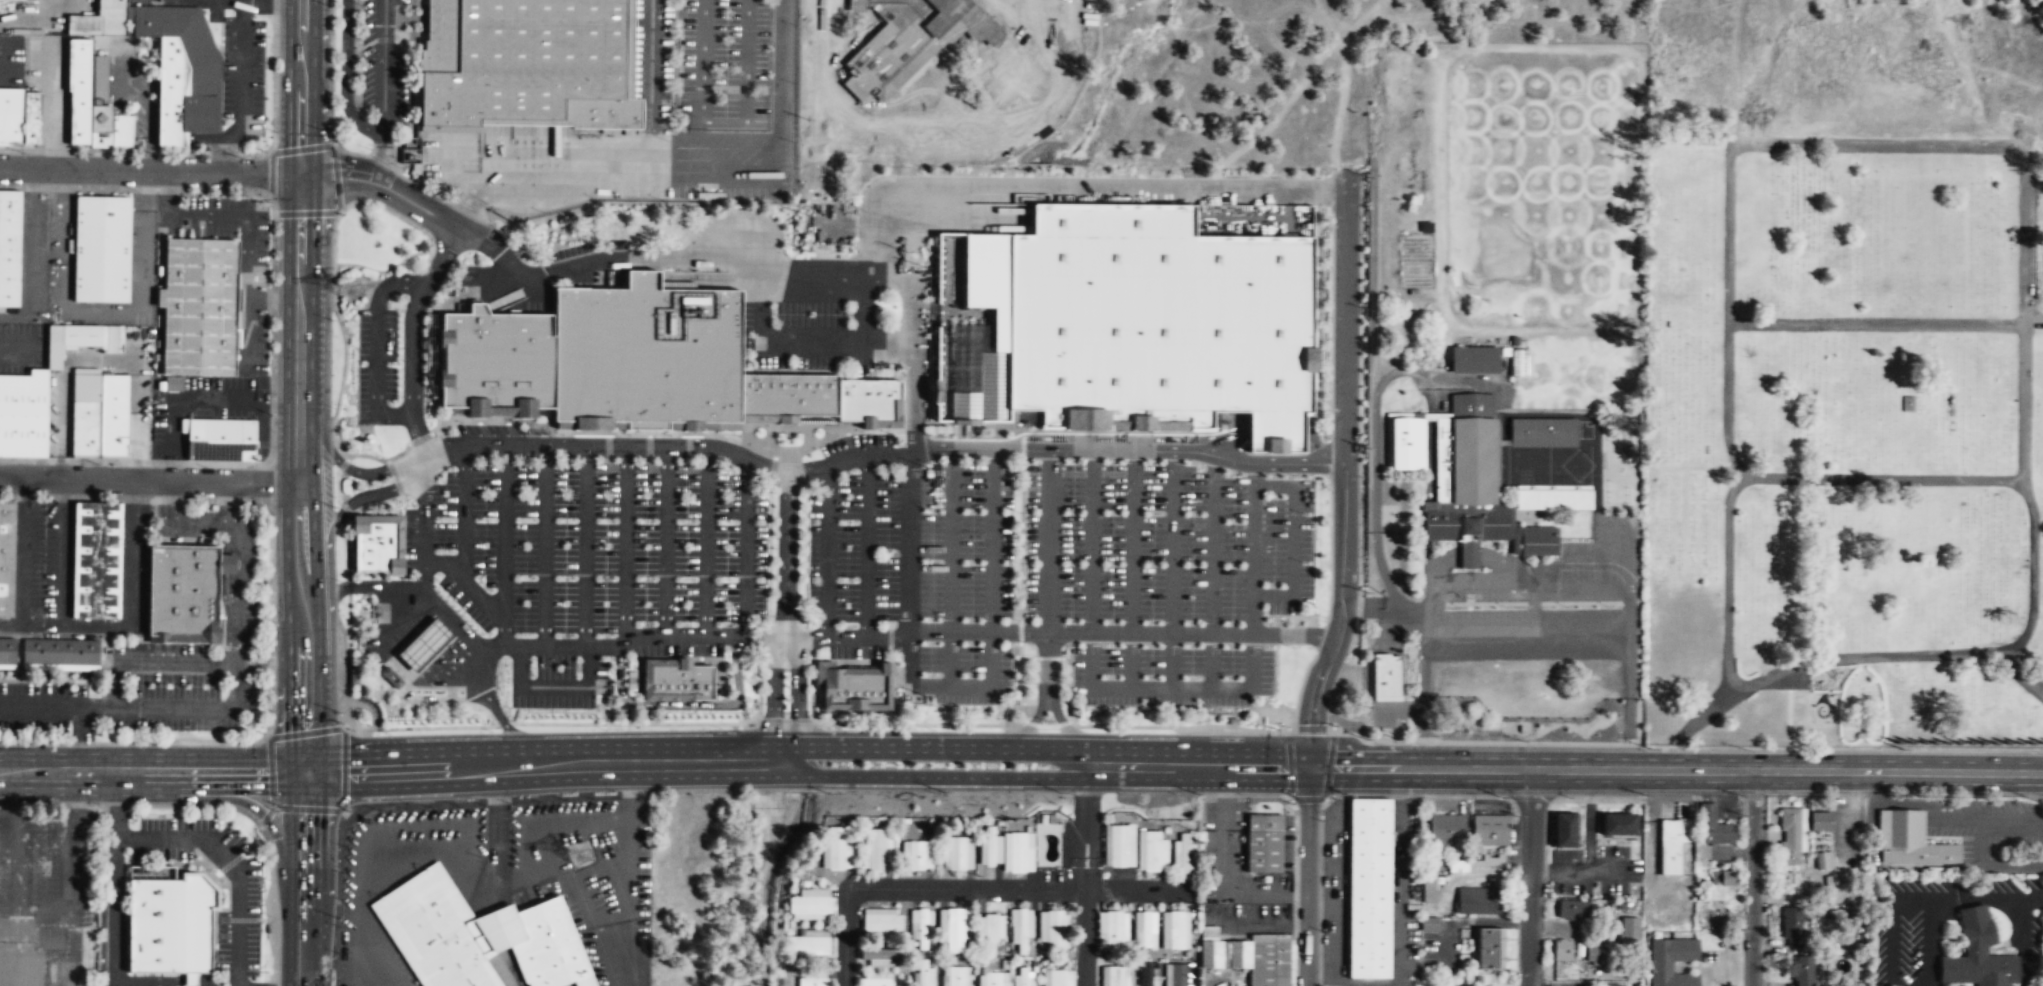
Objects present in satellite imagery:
building: (19, 0)
street lamp: (329, 9)
building: (100, 19)
road: (4, 56)
building: (187, 59)
road: (240, 61)
road: (384, 63)
parking lot: (724, 63)
building: (528, 65)
parking lot: (382, 67)
road: (781, 69)
road: (346, 77)
road: (300, 87)
building: (78, 89)
road: (649, 89)
building: (170, 93)
building: (10, 117)
building: (31, 118)
road: (723, 122)
street lamp: (329, 126)
road: (712, 138)
road: (226, 146)
street lamp: (22, 152)
parking lot: (447, 152)
street lamp: (156, 154)
road: (381, 155)
road: (1727, 164)
road: (149, 170)
traffic signals: (299, 175)
road: (606, 178)
road: (383, 185)
road: (1085, 186)
street lamp: (244, 189)
road: (169, 193)
road: (473, 203)
road: (961, 212)
street lamp: (274, 240)
road: (68, 241)
building: (9, 246)
building: (101, 248)
parking lot: (142, 248)
road: (498, 250)
road: (246, 252)
road: (26, 254)
road: (633, 258)
road: (815, 272)
road: (713, 279)
power tower: (351, 288)
road: (511, 295)
road: (139, 296)
road: (272, 299)
building: (199, 306)
road: (333, 306)
road: (864, 307)
building: (1156, 322)
road: (1875, 323)
parking lot: (250, 326)
street lamp: (331, 331)
building: (81, 339)
road: (793, 339)
road: (14, 345)
road: (377, 345)
building: (648, 352)
building: (497, 359)
building: (1473, 359)
building: (1518, 362)
parking lot: (375, 364)
building: (173, 383)
building: (23, 393)
street lamp: (273, 394)
building: (790, 394)
road: (212, 396)
building: (870, 399)
street lamp: (331, 406)
road: (435, 414)
building: (85, 415)
building: (112, 416)
building: (1542, 432)
building: (22, 435)
building: (220, 439)
building: (1405, 442)
road: (421, 444)
park: (1842, 445)
building: (1471, 448)
road: (912, 452)
road: (874, 455)
road: (340, 463)
road: (1344, 473)
road: (298, 475)
road: (1884, 479)
road: (149, 480)
road: (395, 483)
street lamp: (333, 496)
building: (1552, 496)
road: (370, 504)
road: (1506, 508)
street lamp: (272, 519)
road: (177, 522)
building: (1465, 524)
road: (665, 539)
parking lot: (964, 540)
building: (1538, 540)
road: (706, 541)
road: (1294, 541)
road: (625, 542)
road: (461, 543)
parking lot: (1165, 543)
road: (504, 544)
road: (544, 544)
building: (374, 545)
road: (585, 545)
parking lot: (590, 546)
road: (866, 546)
parking lot: (853, 548)
road: (746, 549)
road: (826, 552)
road: (398, 554)
building: (6, 555)
road: (786, 555)
building: (95, 558)
road: (328, 558)
road: (22, 561)
road: (441, 565)
road: (951, 567)
road: (243, 570)
road: (1133, 570)
road: (1171, 570)
road: (1212, 572)
road: (1049, 574)
street lamp: (339, 580)
road: (375, 587)
building: (182, 592)
parking lot: (237, 605)
street lamp: (273, 618)
road: (348, 620)
road: (95, 624)
road: (907, 633)
road: (989, 634)
building: (425, 643)
gas station: (425, 643)
building: (7, 649)
building: (60, 651)
parking lot: (856, 652)
road: (154, 662)
street lamp: (764, 666)
parking lot: (963, 673)
road: (2021, 674)
building: (392, 676)
parking lot: (1170, 676)
building: (683, 679)
building: (1386, 679)
parking lot: (1789, 680)
road: (553, 686)
building: (857, 688)
road: (773, 689)
road: (797, 689)
road: (1165, 689)
street lamp: (344, 691)
road: (1827, 693)
road: (75, 703)
road: (683, 703)
street lamp: (763, 703)
road: (214, 706)
parking lot: (50, 707)
road: (1705, 710)
road: (1787, 712)
road: (497, 713)
street lamp: (273, 715)
road: (1029, 725)
road: (1068, 732)
road: (930, 748)
road: (783, 751)
road: (1189, 767)
road: (549, 768)
traffic signals: (1309, 768)
road: (1676, 769)
road: (152, 772)
traffic signals: (305, 775)
road: (932, 776)
street lamp: (1501, 797)
street lamp: (97, 803)
road: (250, 804)
road: (562, 821)
building: (1820, 822)
building: (1619, 825)
building: (1715, 828)
building: (1446, 829)
building: (1489, 830)
building: (1565, 830)
building: (1790, 836)
building: (1909, 841)
building: (1264, 843)
building: (990, 845)
building: (1117, 845)
building: (835, 846)
building: (1671, 848)
building: (876, 849)
building: (1150, 850)
building: (1018, 851)
building: (957, 852)
building: (1183, 852)
building: (916, 854)
road: (438, 855)
power tower: (581, 856)
road: (233, 861)
building: (1823, 861)
street lamp: (336, 865)
building: (1475, 865)
road: (1086, 876)
road: (1309, 877)
road: (1529, 877)
road: (1752, 877)
road: (305, 880)
road: (114, 882)
building: (1719, 883)
building: (1784, 884)
road: (968, 888)
building: (1369, 888)
building: (1428, 890)
building: (1478, 901)
building: (810, 904)
building: (1573, 911)
street lamp: (269, 915)
building: (1666, 919)
building: (883, 921)
building: (170, 924)
building: (1428, 924)
building: (991, 927)
building: (922, 928)
building: (1056, 928)
building: (1144, 928)
building: (1174, 928)
building: (956, 929)
building: (1793, 929)
building: (1022, 930)
building: (1112, 930)
building: (436, 931)
building: (1627, 935)
building: (807, 944)
building: (546, 945)
building: (1487, 948)
building: (1562, 950)
building: (883, 954)
building: (1977, 954)
building: (1594, 955)
building: (1249, 956)
street lamp: (331, 962)
building: (1661, 968)
building: (922, 971)
building: (1144, 972)
building: (1803, 972)
building: (1177, 974)
building: (1113, 975)
building: (956, 976)
building: (1023, 976)
road: (164, 977)
building: (1057, 977)
building: (992, 978)
building: (813, 981)
building: (881, 982)
road: (154, 984)

